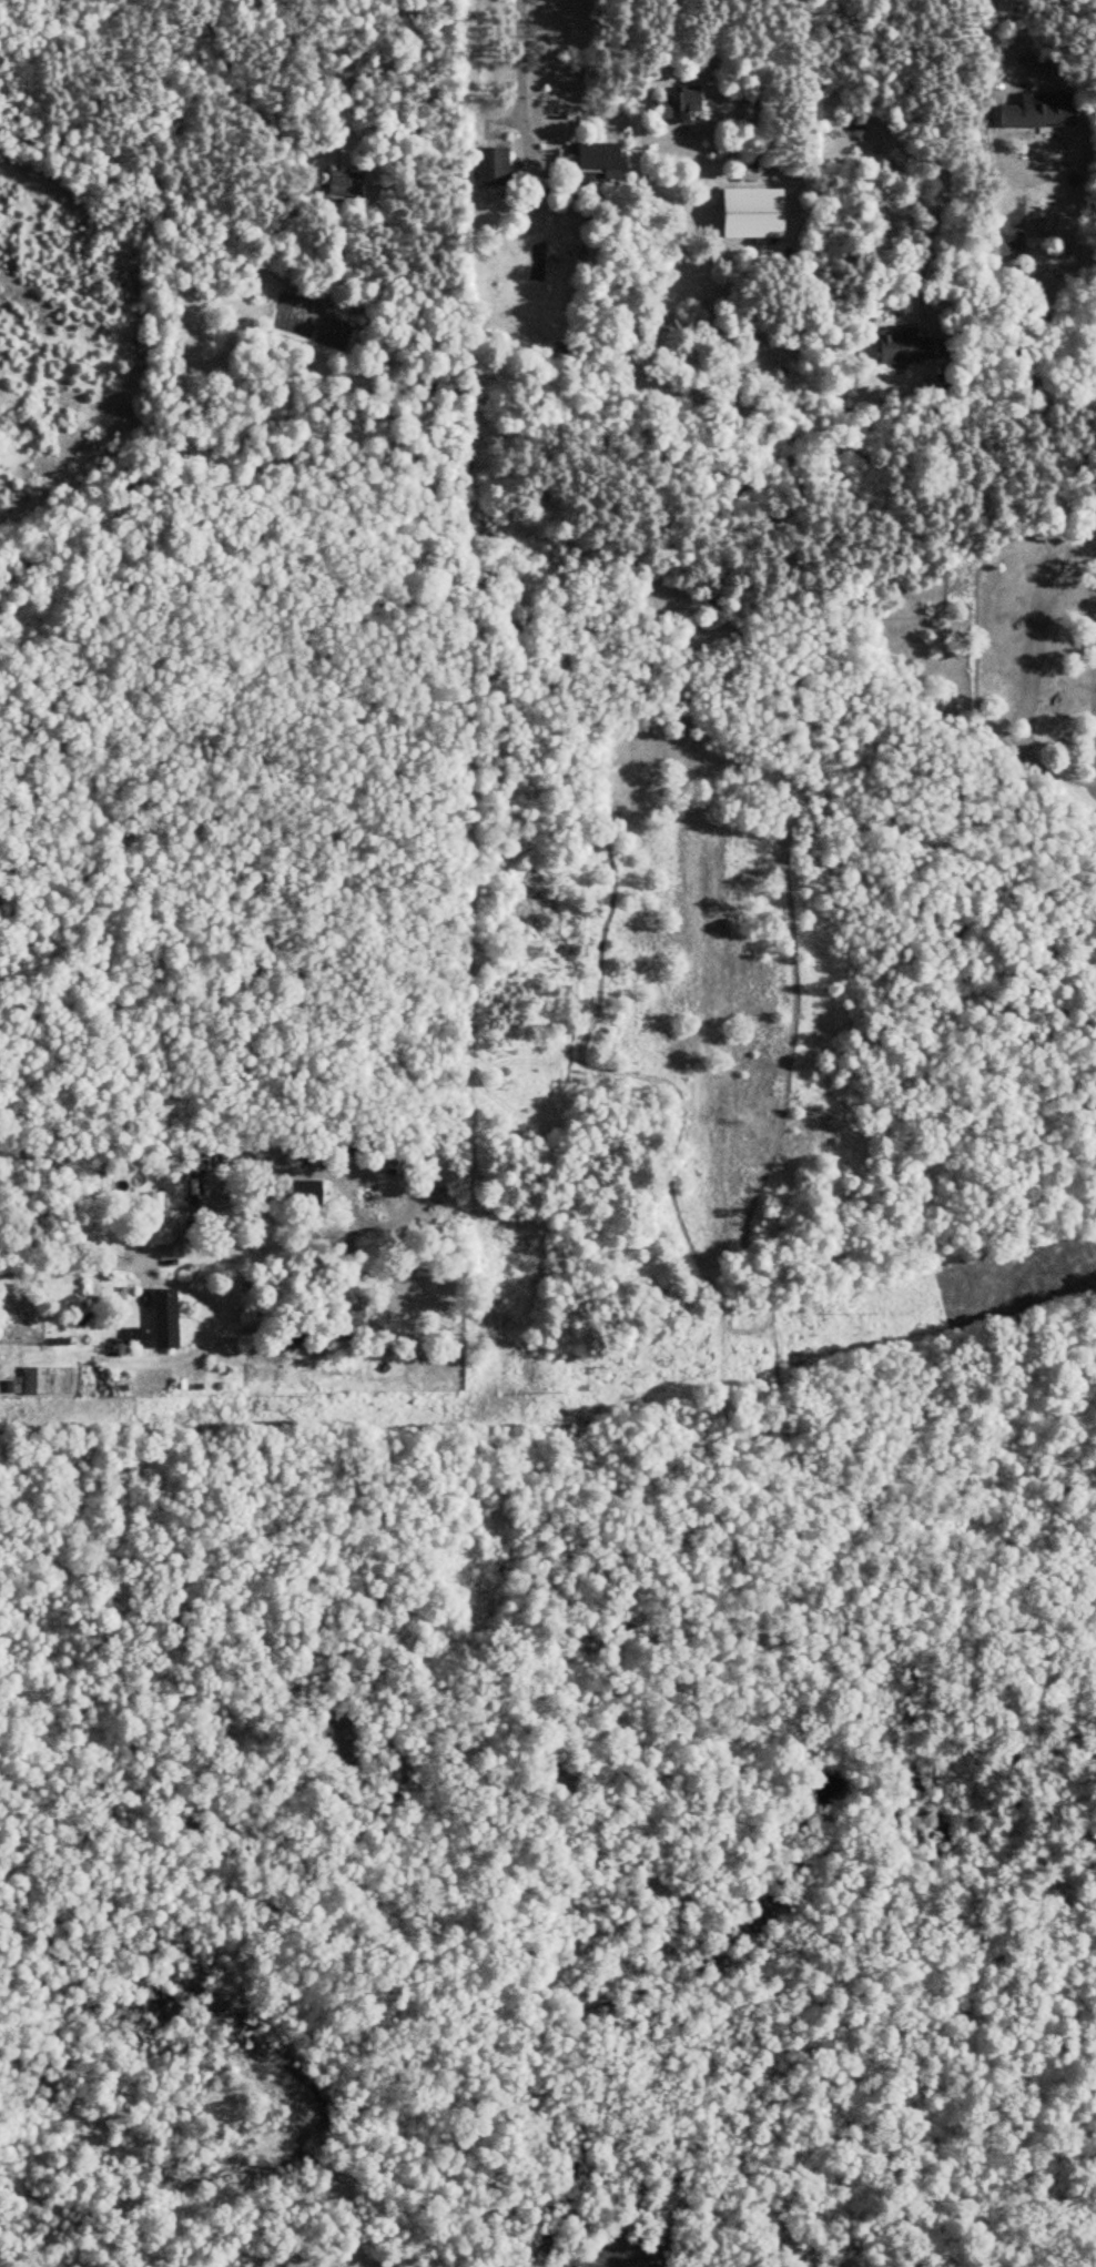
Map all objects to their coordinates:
road: (657, 34)
road: (991, 36)
road: (518, 59)
building: (325, 68)
building: (690, 104)
building: (664, 107)
building: (1042, 111)
road: (902, 149)
building: (597, 161)
building: (494, 165)
building: (346, 183)
building: (740, 183)
building: (909, 347)
building: (159, 1218)
road: (52, 1262)
building: (162, 1319)
building: (298, 1335)
building: (134, 1342)
road: (2, 2199)

